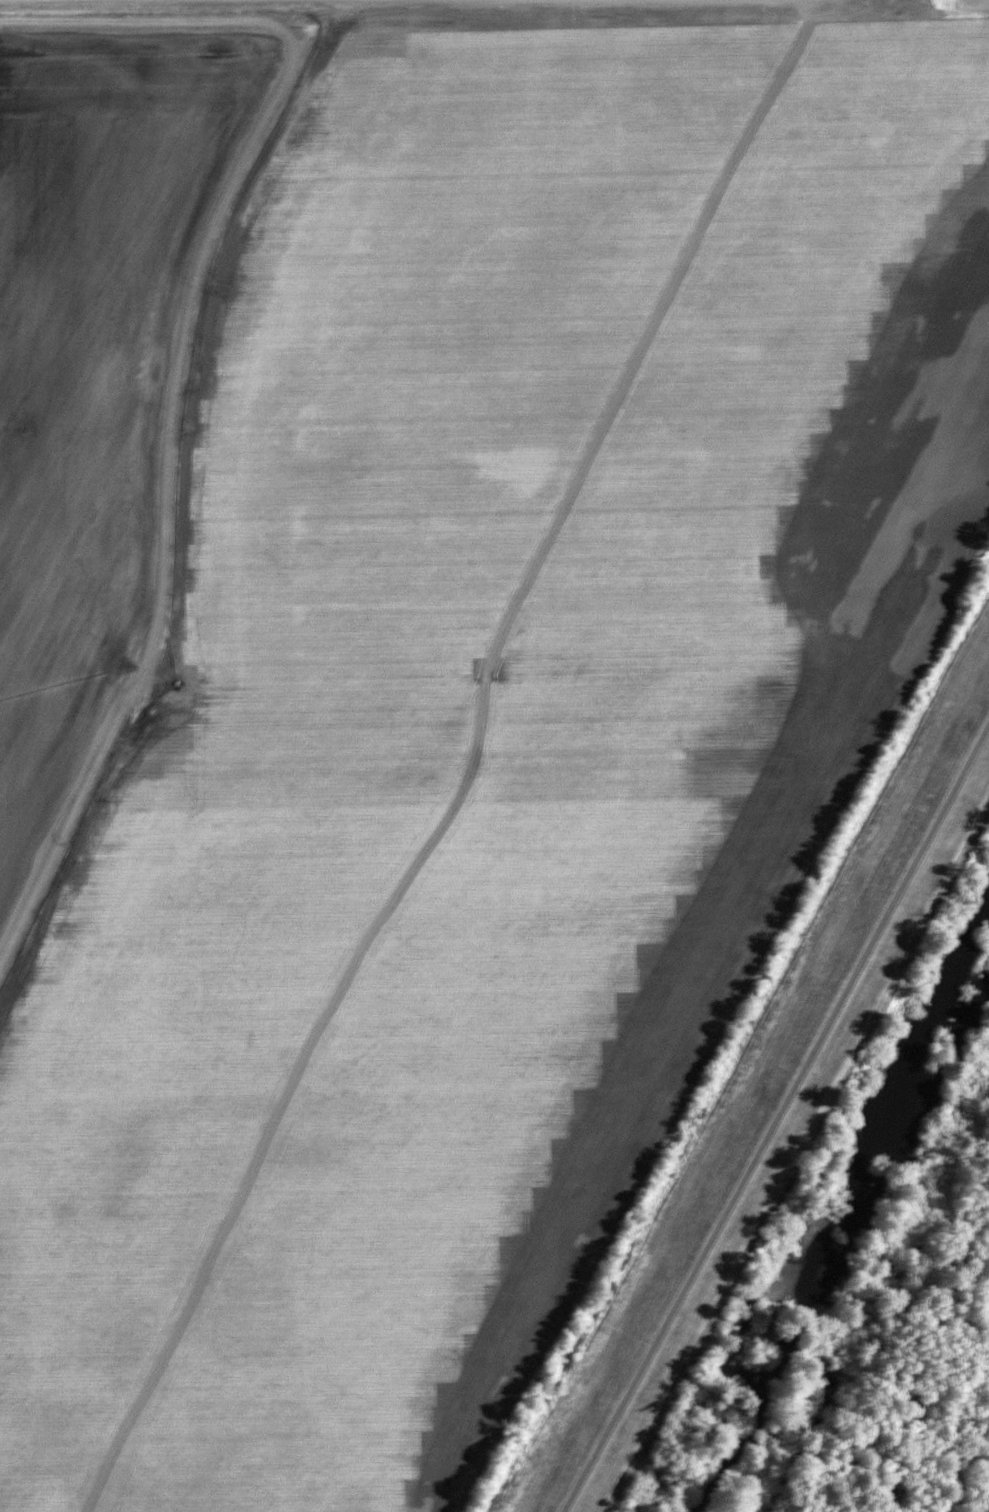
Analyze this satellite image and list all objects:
road: (776, 1116)

